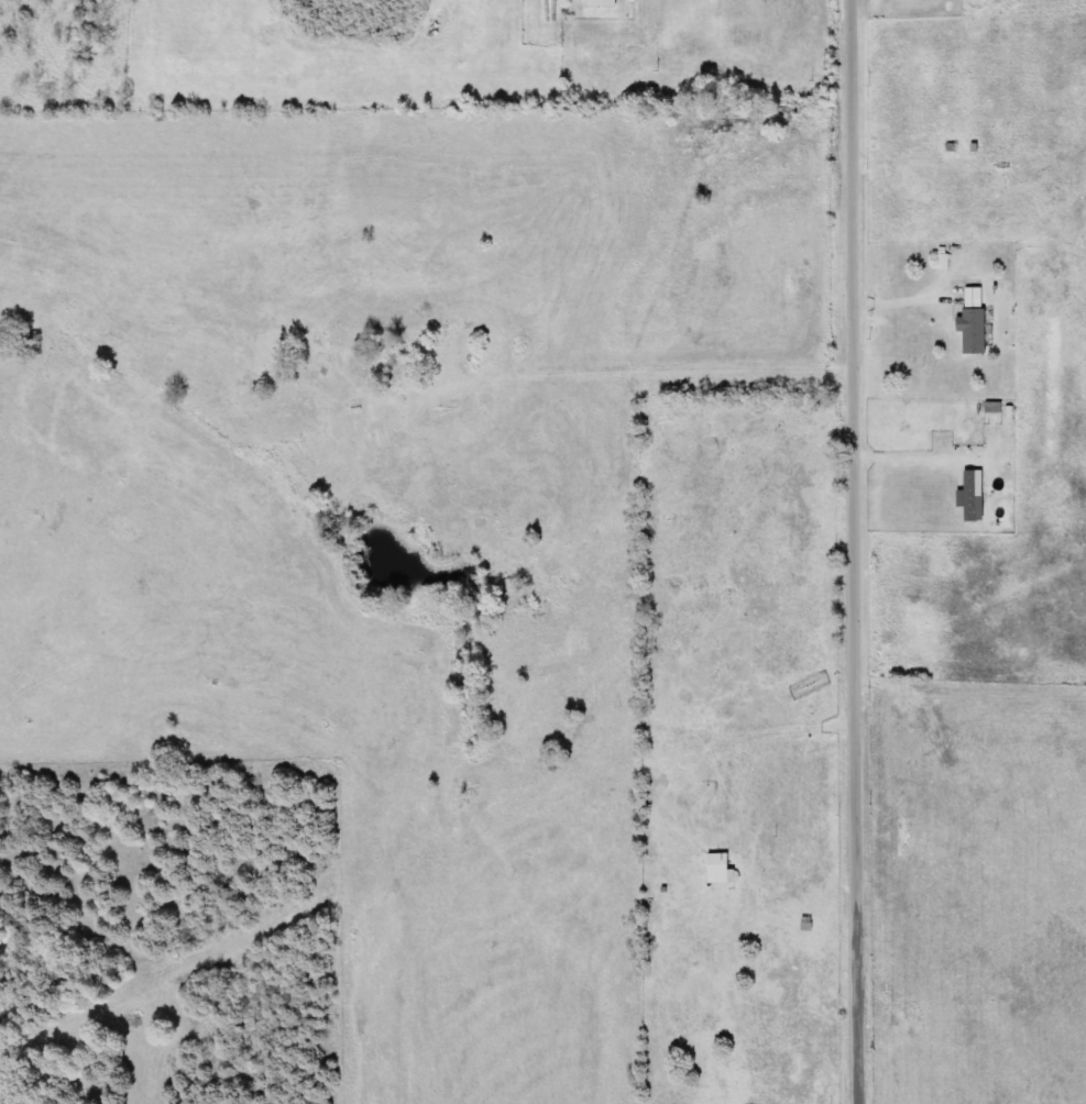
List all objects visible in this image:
building: (604, 3)
building: (976, 294)
building: (975, 330)
building: (996, 407)
building: (974, 496)
road: (864, 552)
building: (722, 869)

